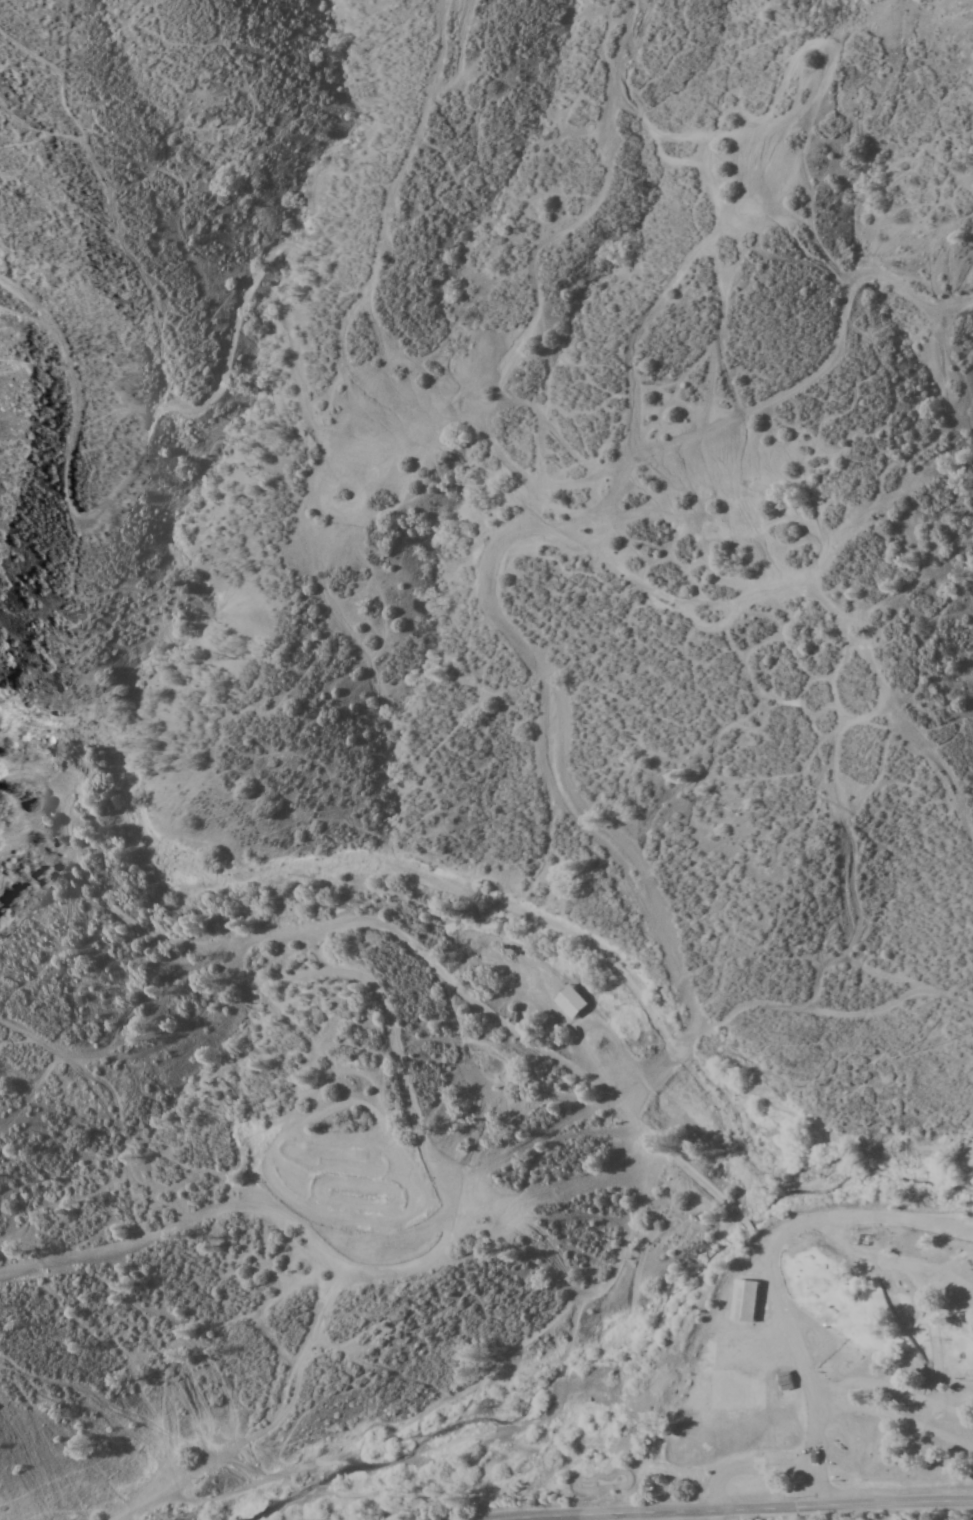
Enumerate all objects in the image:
road: (570, 217)
road: (382, 221)
road: (248, 311)
road: (771, 394)
road: (609, 826)
road: (122, 868)
road: (290, 940)
building: (571, 1001)
road: (104, 1096)
road: (414, 1202)
building: (965, 1257)
road: (83, 1266)
road: (319, 1285)
building: (745, 1301)
road: (780, 1309)
road: (490, 1360)
building: (784, 1381)
road: (893, 1384)
helipad: (715, 1412)
road: (888, 1416)
building: (815, 1456)
road: (743, 1510)

